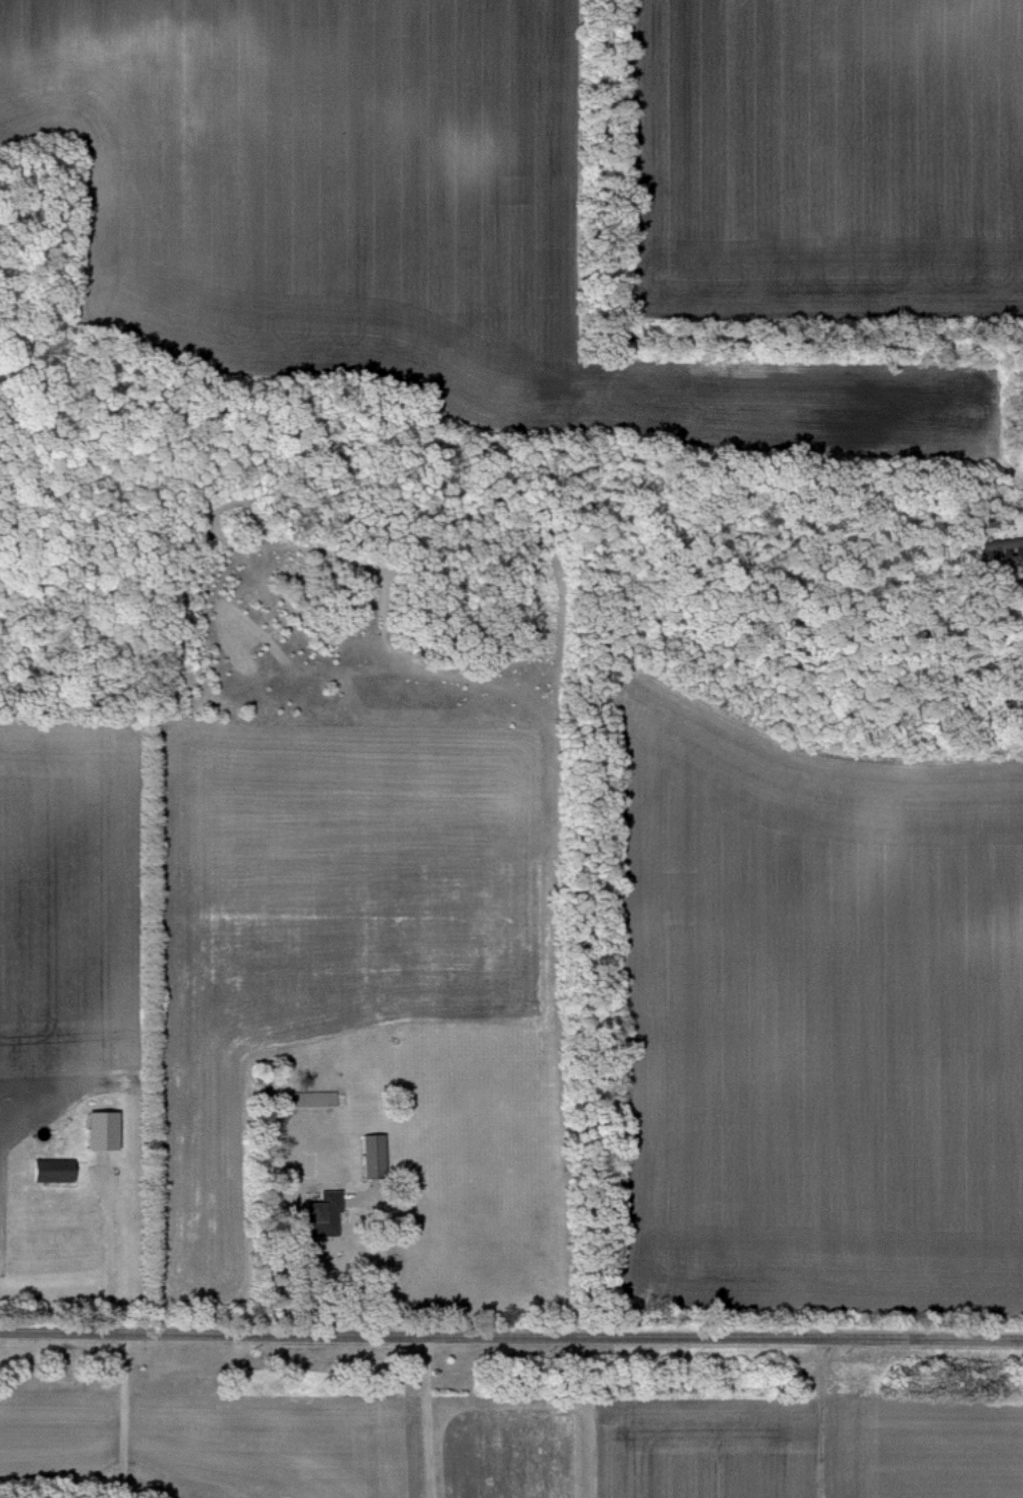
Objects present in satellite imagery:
building: (1001, 546)
building: (312, 1098)
building: (49, 1169)
building: (323, 1214)
road: (511, 1332)
road: (810, 1416)

